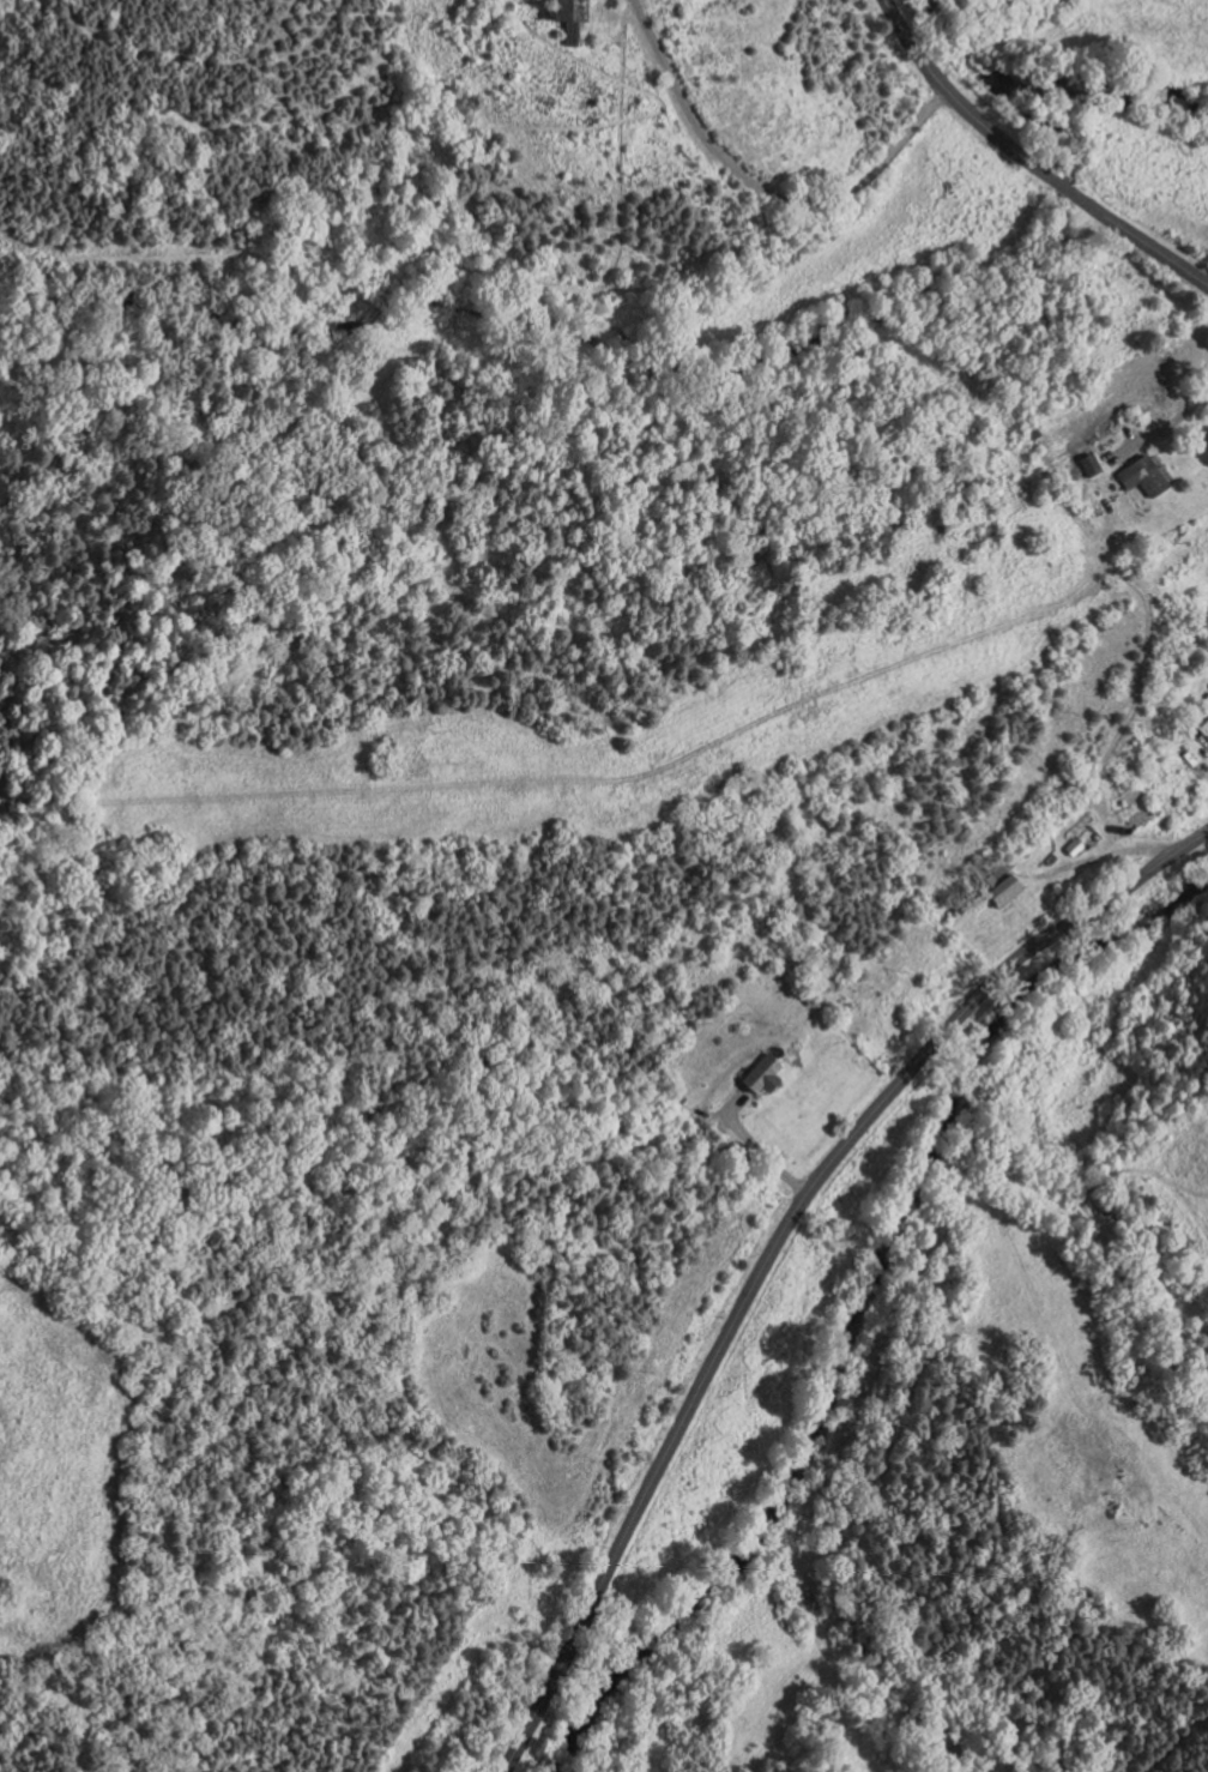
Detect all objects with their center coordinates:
building: (533, 12)
building: (580, 14)
road: (1029, 158)
road: (762, 188)
road: (1161, 427)
building: (1092, 462)
building: (1144, 474)
building: (1203, 725)
road: (721, 745)
building: (1132, 806)
building: (1082, 831)
road: (1105, 856)
building: (1047, 857)
building: (992, 880)
building: (1069, 885)
building: (1004, 890)
building: (761, 1073)
road: (713, 1114)
road: (756, 1147)
road: (778, 1238)
road: (1073, 1390)

